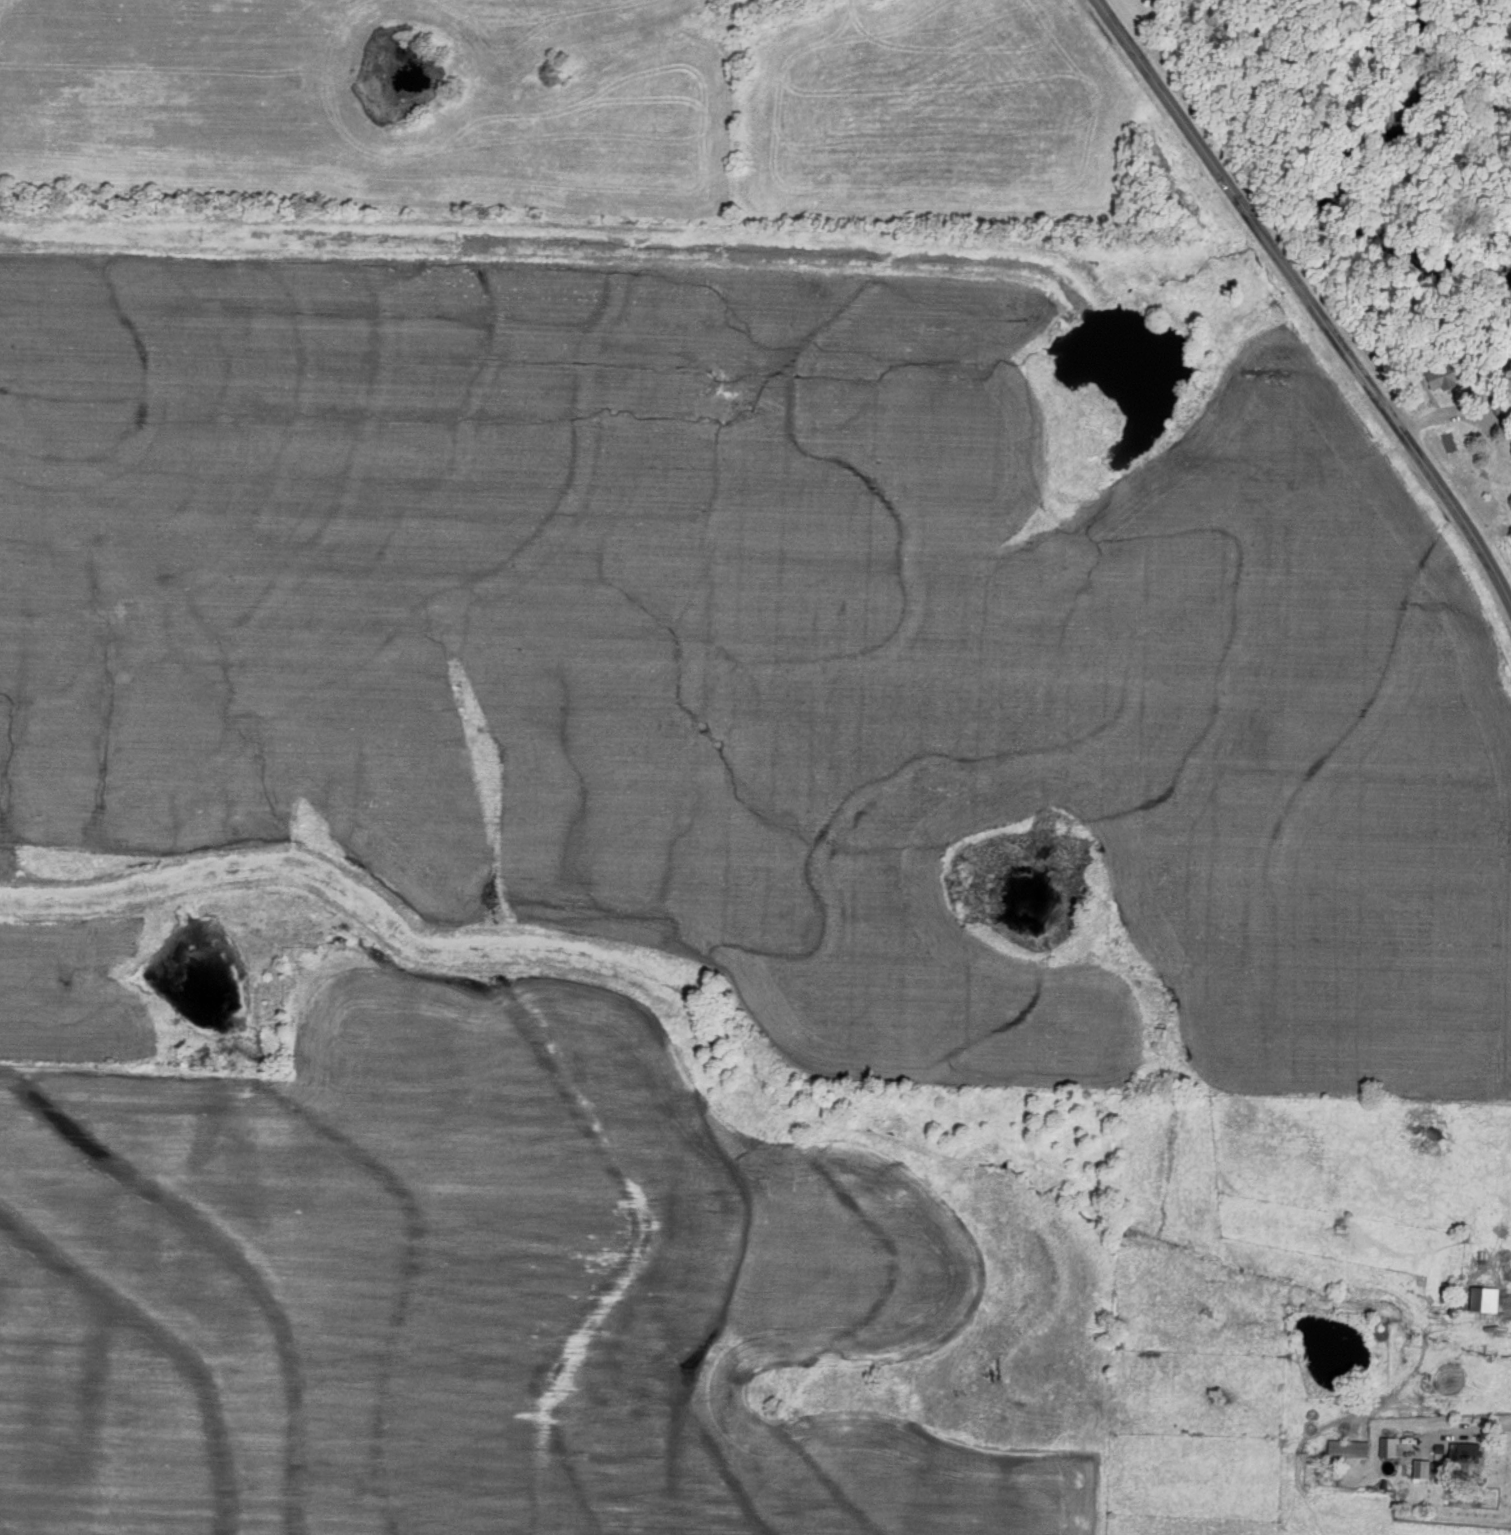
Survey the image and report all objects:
road: (1306, 296)
building: (1436, 342)
building: (1450, 374)
building: (1504, 406)
building: (1484, 1300)
building: (1388, 1446)
building: (1348, 1448)
building: (1466, 1451)
building: (1422, 1468)

